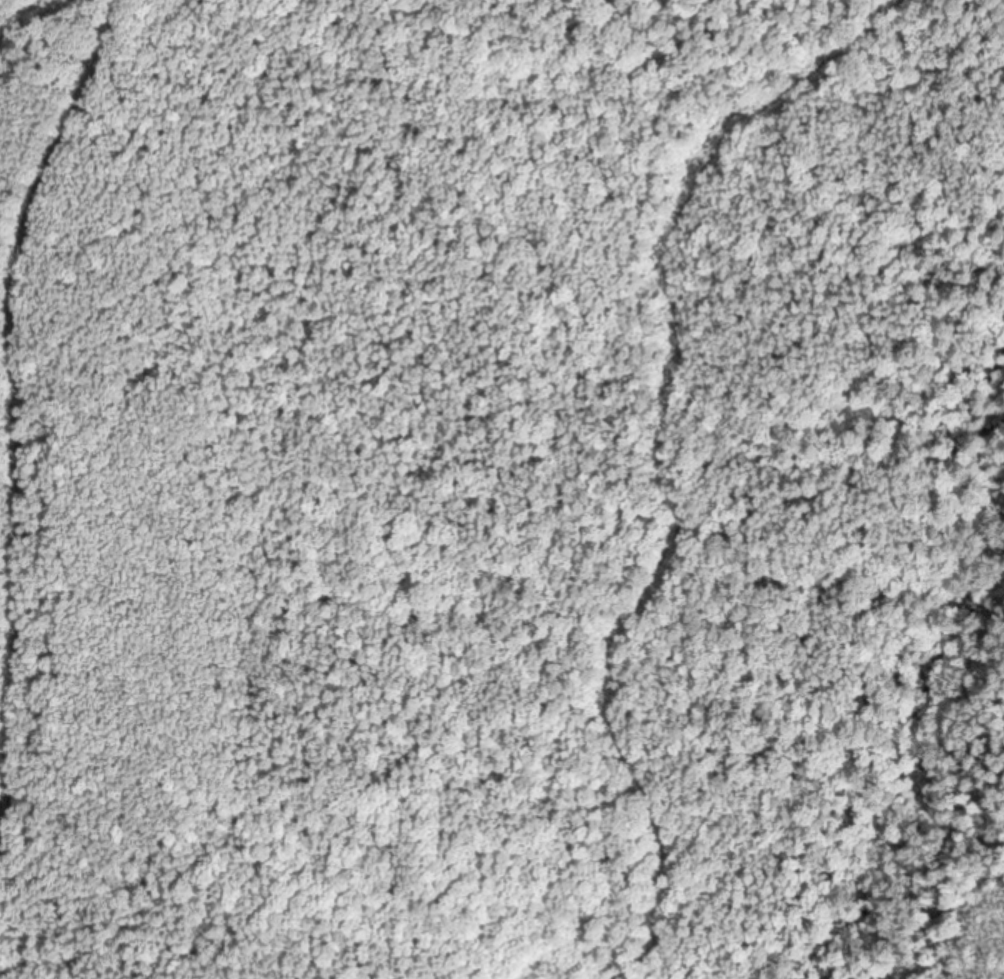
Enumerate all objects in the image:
road: (17, 404)

